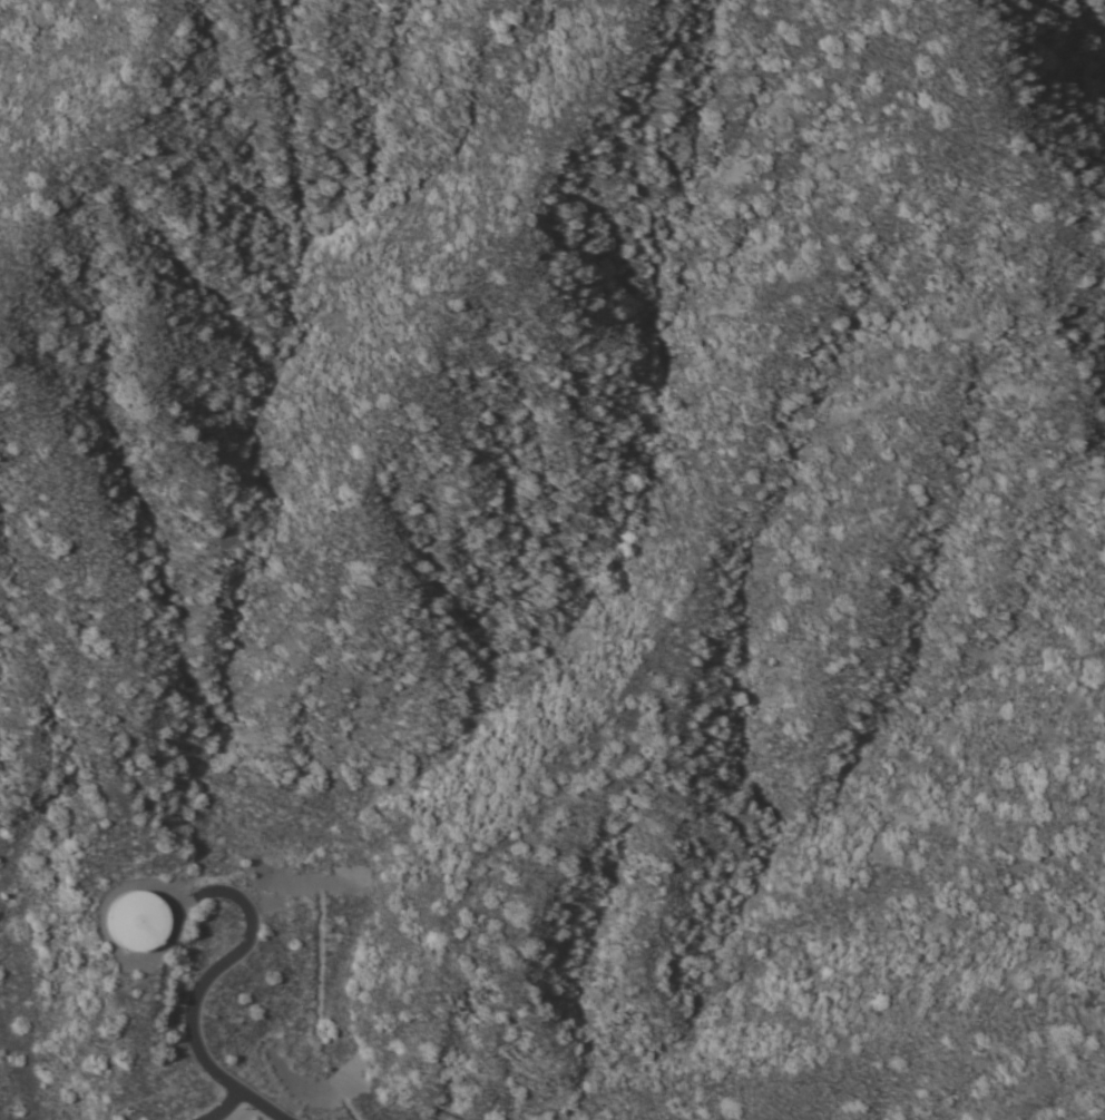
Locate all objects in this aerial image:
building: (136, 921)
water tower: (137, 921)
road: (198, 993)
road: (232, 1109)

